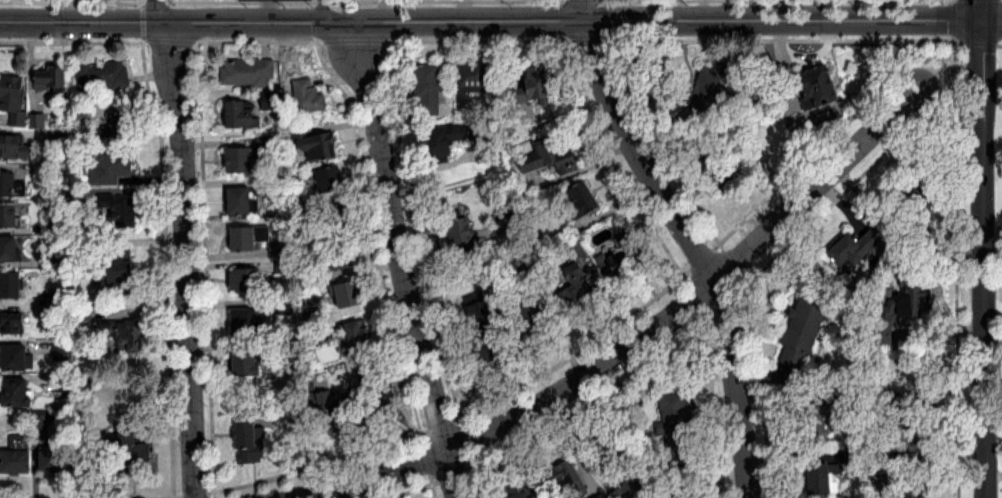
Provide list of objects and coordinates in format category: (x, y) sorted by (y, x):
road: (583, 9)
road: (981, 9)
road: (159, 11)
road: (329, 11)
road: (502, 19)
road: (992, 19)
road: (12, 24)
building: (248, 72)
building: (103, 76)
building: (476, 77)
building: (50, 79)
building: (813, 86)
building: (428, 89)
building: (710, 92)
building: (308, 97)
building: (14, 99)
building: (271, 102)
building: (241, 116)
building: (123, 127)
building: (445, 141)
building: (315, 144)
building: (267, 145)
building: (15, 148)
building: (486, 151)
building: (240, 161)
building: (547, 165)
building: (113, 168)
building: (330, 180)
building: (11, 187)
building: (241, 201)
building: (583, 201)
building: (917, 207)
building: (120, 211)
building: (9, 216)
building: (338, 219)
building: (507, 227)
road: (992, 229)
building: (461, 234)
building: (249, 238)
road: (451, 248)
road: (694, 248)
building: (281, 249)
building: (857, 249)
building: (9, 250)
building: (342, 256)
road: (398, 257)
road: (984, 258)
road: (186, 259)
building: (621, 261)
building: (284, 264)
building: (121, 269)
building: (246, 280)
road: (937, 284)
building: (12, 287)
building: (581, 287)
building: (914, 290)
building: (350, 295)
building: (532, 319)
building: (246, 322)
building: (12, 325)
building: (359, 334)
building: (803, 334)
road: (649, 335)
building: (125, 337)
building: (18, 359)
building: (248, 362)
building: (18, 394)
building: (380, 398)
building: (322, 404)
building: (822, 417)
building: (677, 426)
building: (251, 442)
building: (130, 453)
building: (17, 457)
building: (56, 460)
road: (994, 474)
building: (822, 479)
building: (564, 482)
building: (521, 489)
building: (629, 489)
building: (920, 489)
building: (601, 496)

